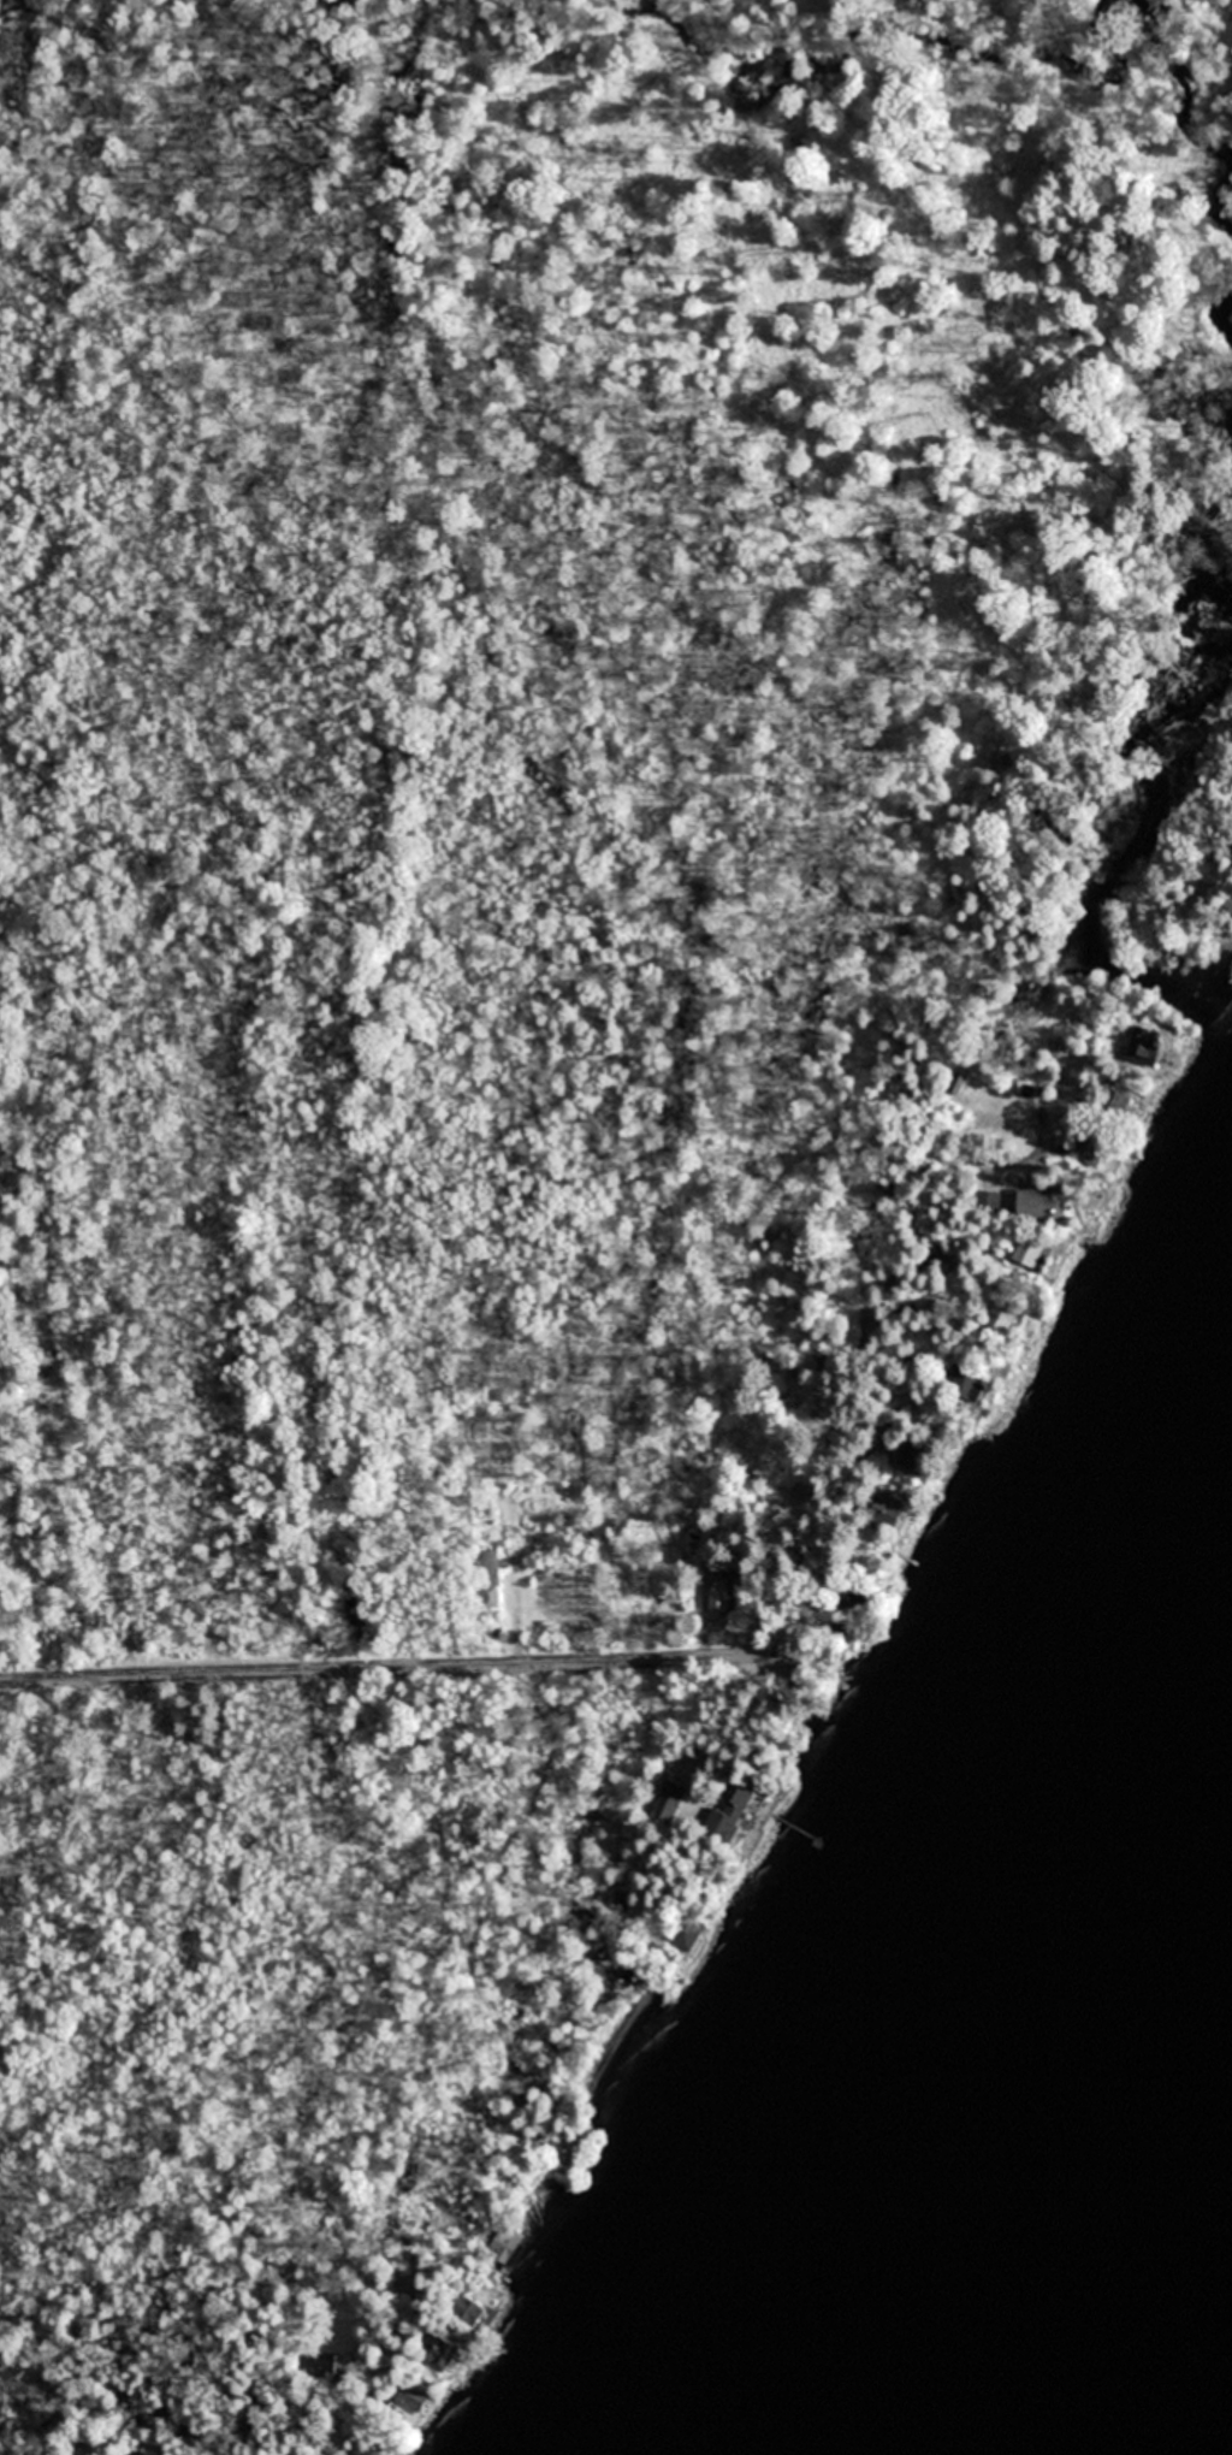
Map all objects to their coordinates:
road: (1214, 839)
building: (1139, 1046)
building: (1110, 1104)
building: (1088, 1148)
building: (984, 1201)
building: (1039, 1203)
building: (1021, 1252)
building: (999, 1315)
building: (959, 1385)
road: (883, 1415)
building: (877, 1510)
building: (488, 1569)
building: (723, 1597)
road: (403, 1666)
building: (733, 1817)
road: (492, 1894)
building: (683, 1929)
building: (568, 2151)
building: (509, 2243)
building: (474, 2311)
road: (409, 2329)
building: (438, 2350)
building: (413, 2397)

